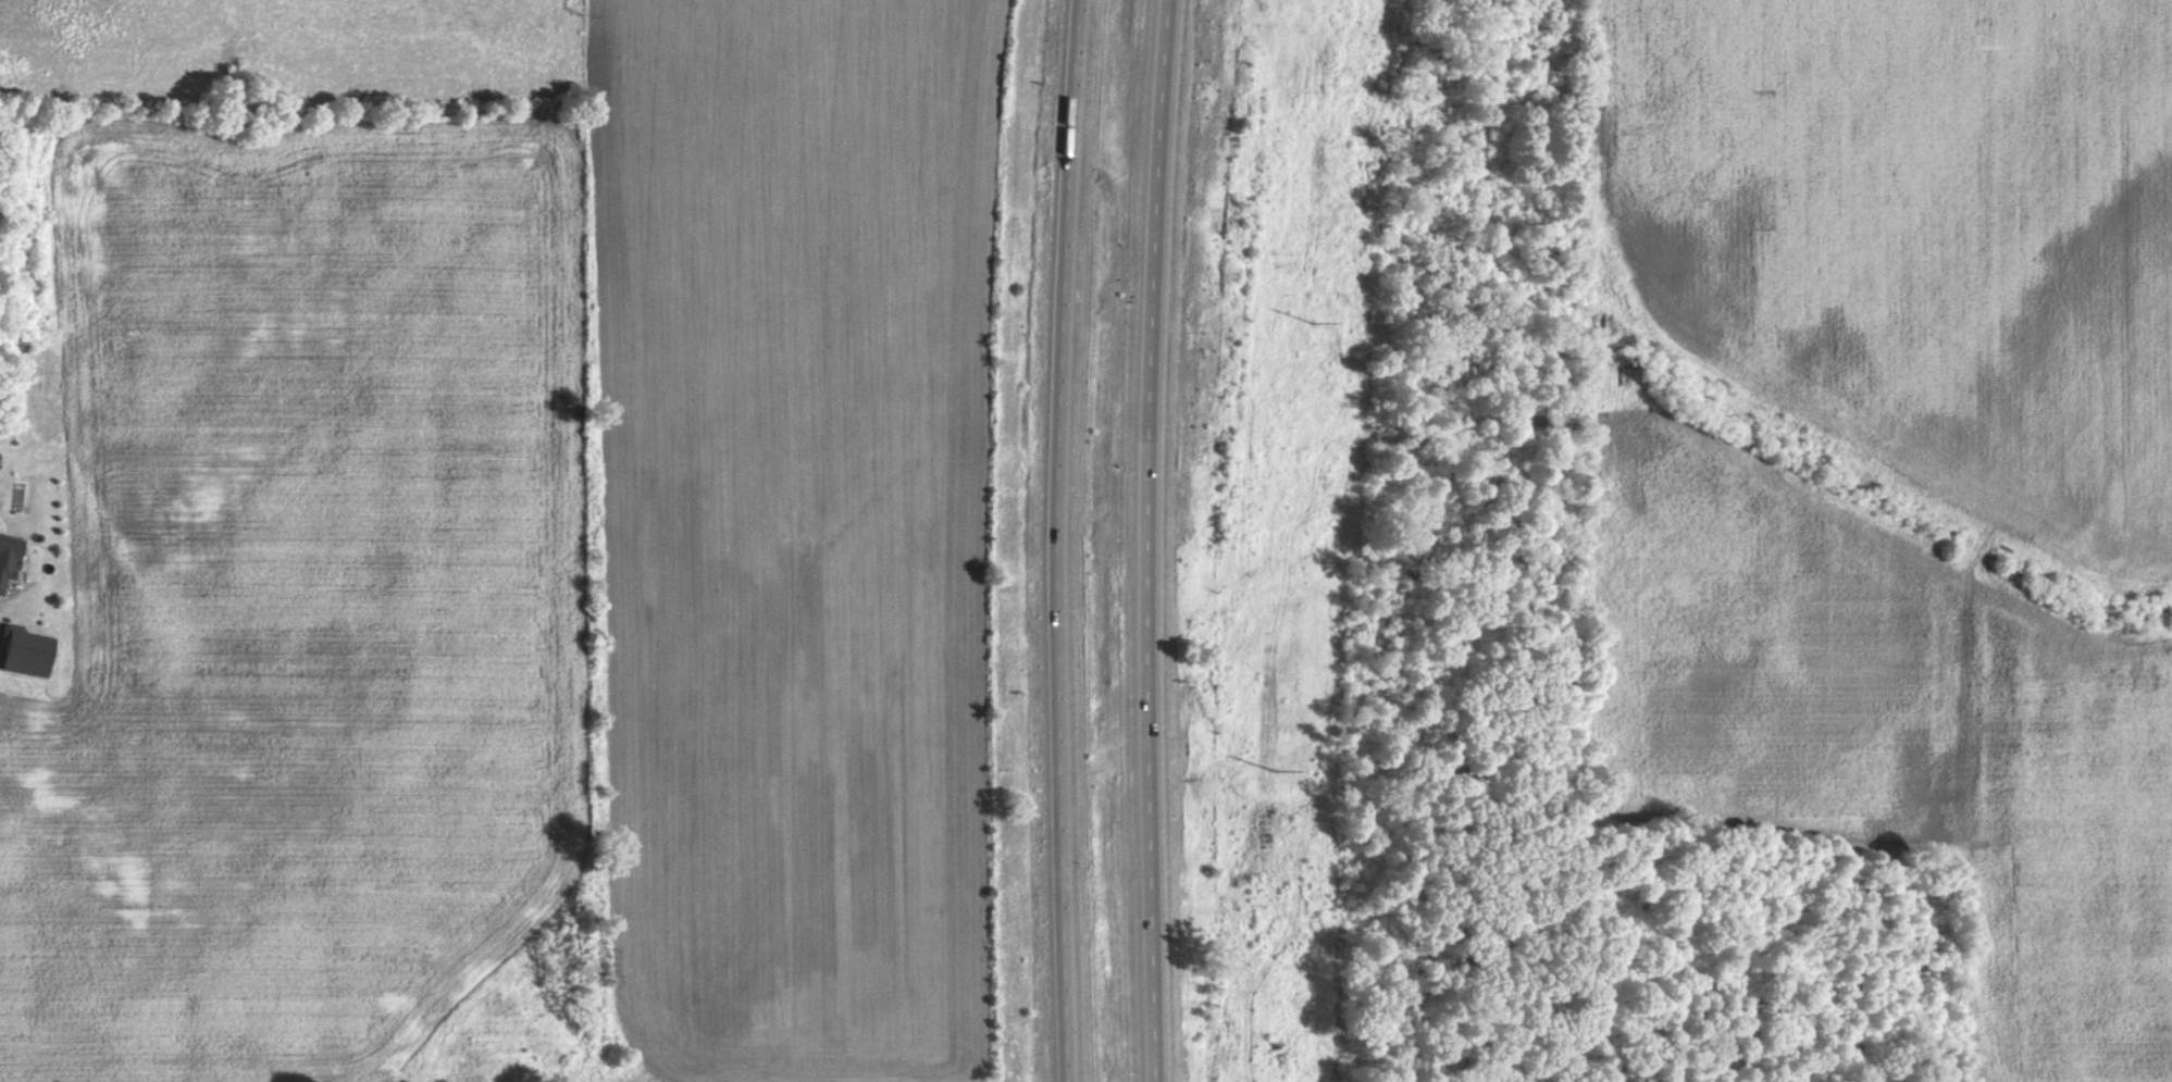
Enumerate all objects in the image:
power tower: (1308, 318)
road: (1058, 540)
road: (1146, 540)
building: (11, 557)
building: (30, 650)
power tower: (1273, 768)

